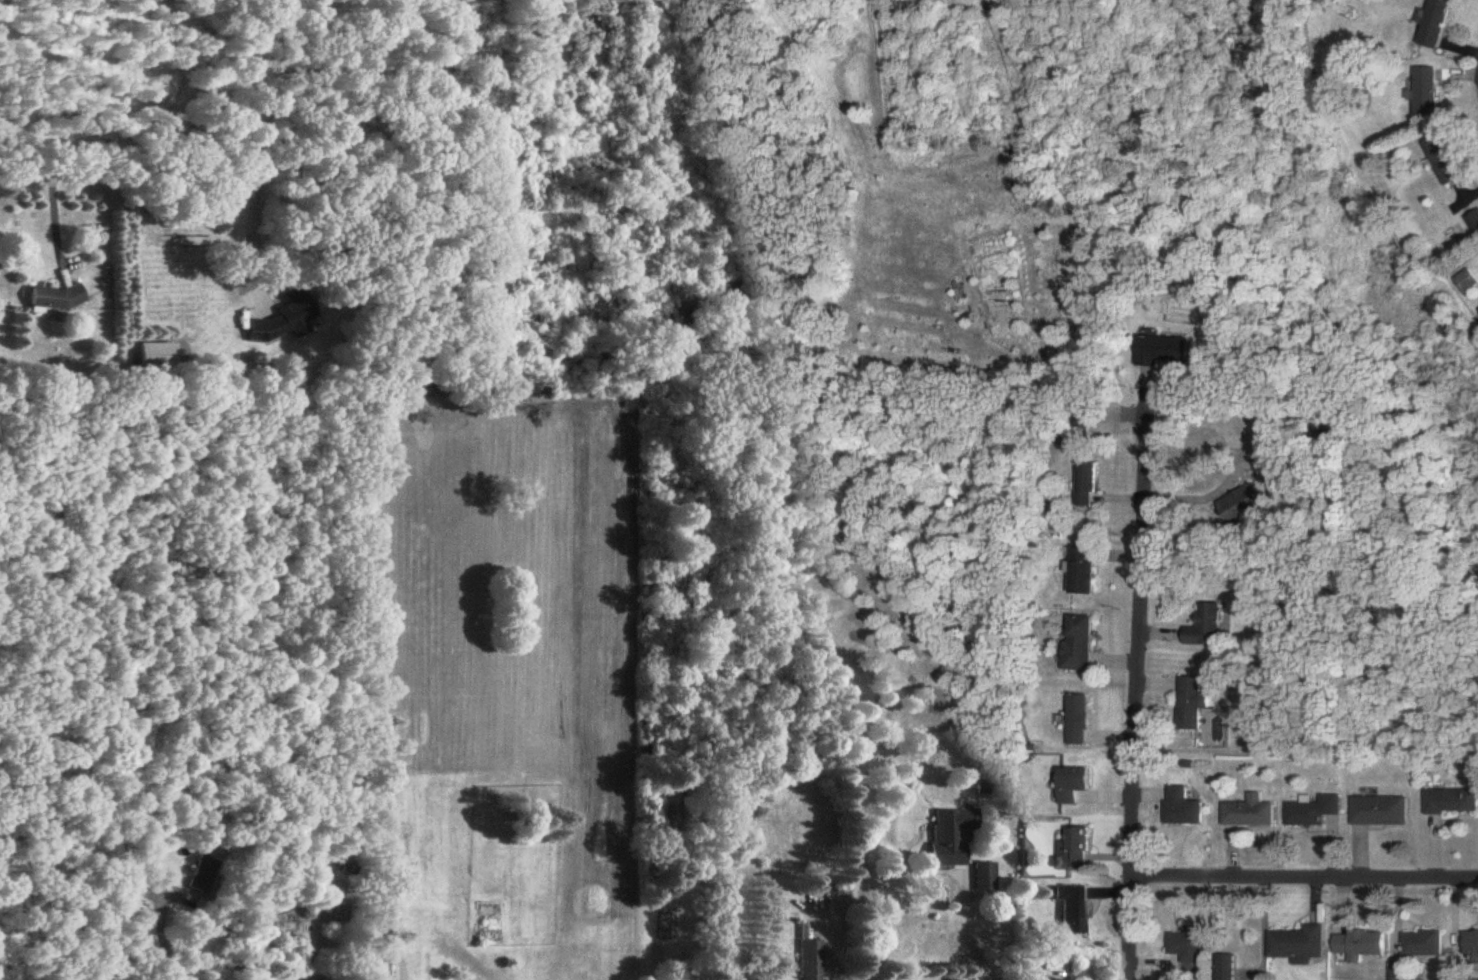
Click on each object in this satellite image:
building: (1436, 25)
building: (1425, 92)
building: (1445, 161)
road: (130, 177)
road: (55, 230)
road: (251, 241)
building: (1464, 281)
building: (995, 291)
building: (56, 299)
building: (1477, 310)
building: (287, 319)
building: (1165, 351)
building: (156, 356)
building: (1088, 486)
road: (1201, 500)
building: (1244, 505)
building: (1084, 572)
building: (1209, 629)
building: (1081, 645)
road: (1137, 689)
building: (1194, 704)
building: (1080, 721)
building: (1076, 786)
building: (1453, 802)
building: (1185, 808)
building: (1316, 811)
building: (1383, 811)
building: (1252, 813)
building: (951, 836)
building: (1080, 848)
building: (202, 876)
road: (1304, 876)
road: (861, 877)
building: (985, 877)
building: (1074, 909)
road: (161, 939)
building: (1301, 945)
building: (1363, 945)
building: (1426, 945)
building: (1190, 946)
building: (1473, 946)
building: (811, 960)
building: (1228, 967)

